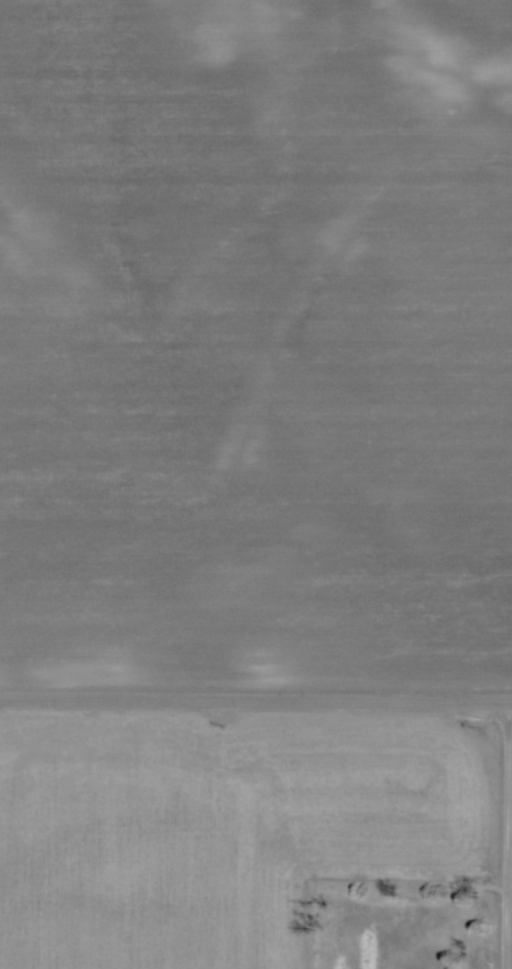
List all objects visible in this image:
crop: (256, 338)
road: (256, 700)
crop: (219, 831)
road: (507, 835)

